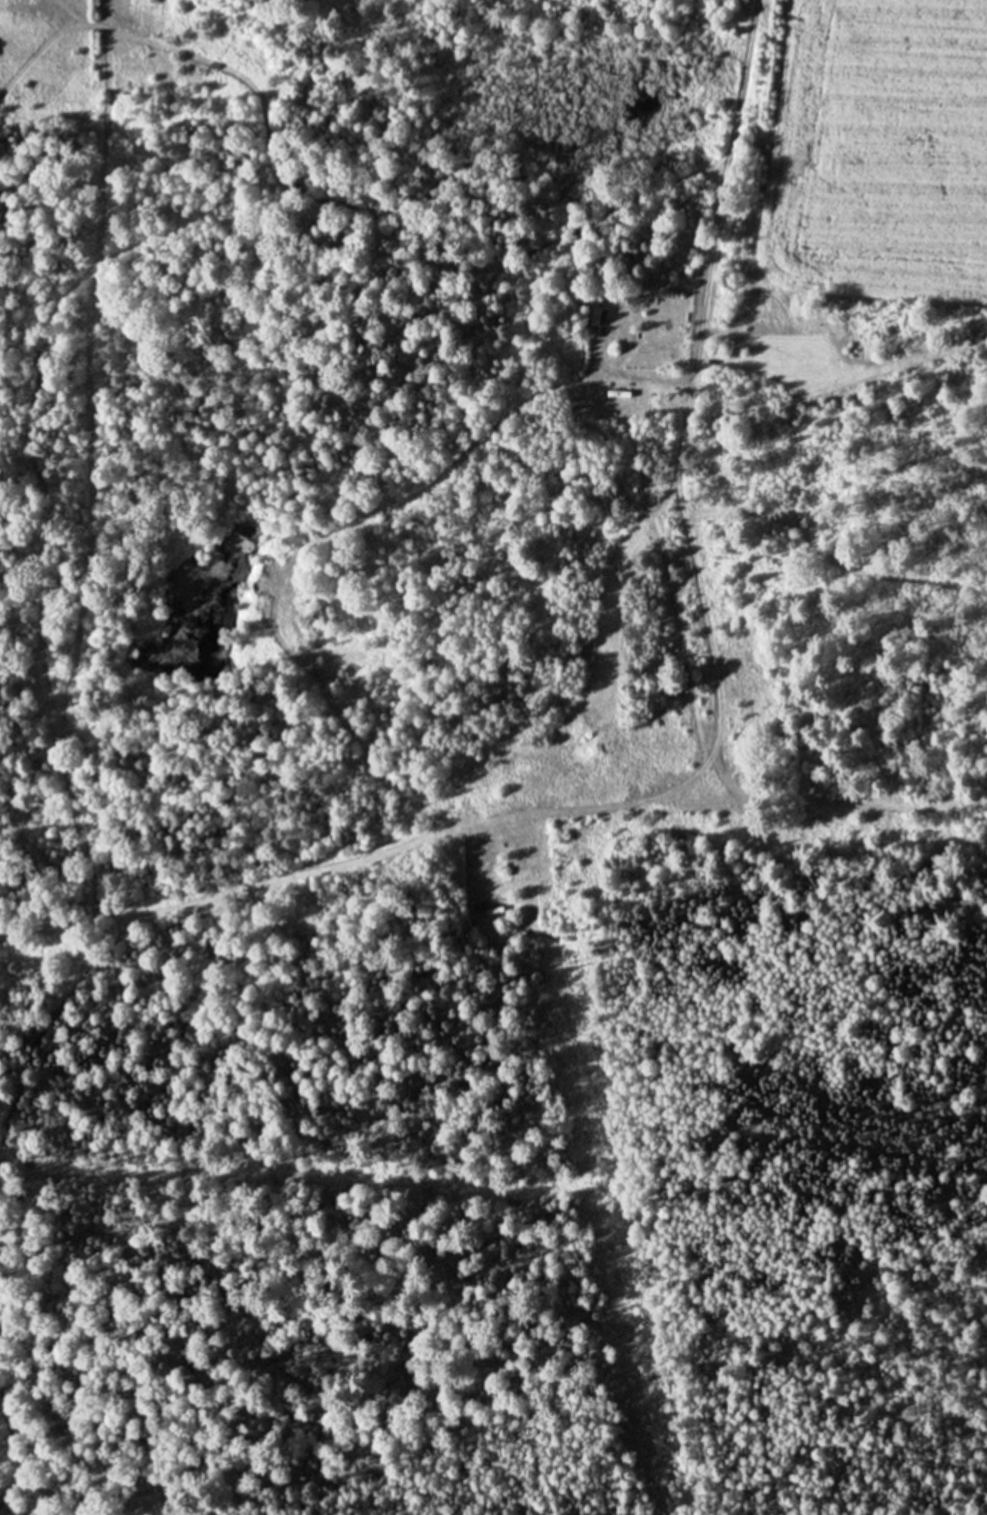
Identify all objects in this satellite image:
building: (595, 317)
road: (335, 529)
road: (656, 796)
road: (3, 1427)

